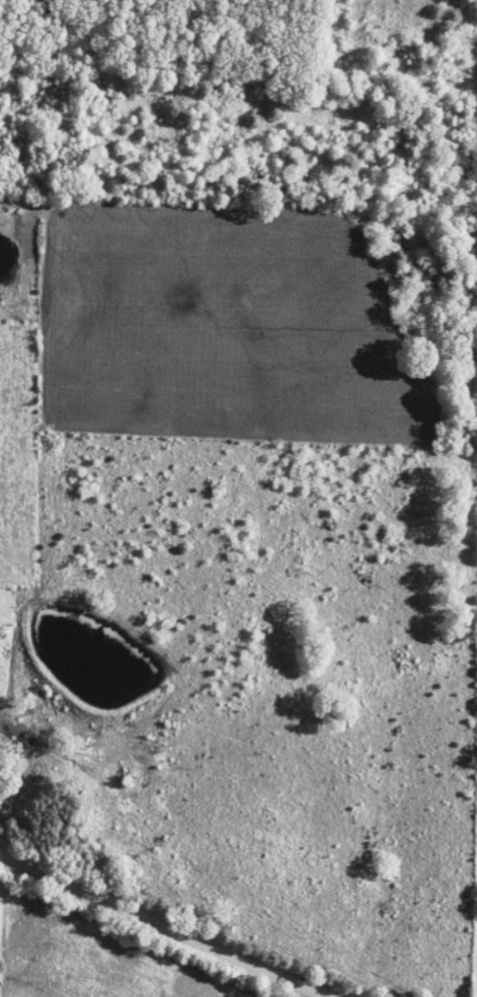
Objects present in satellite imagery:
road: (175, 921)

